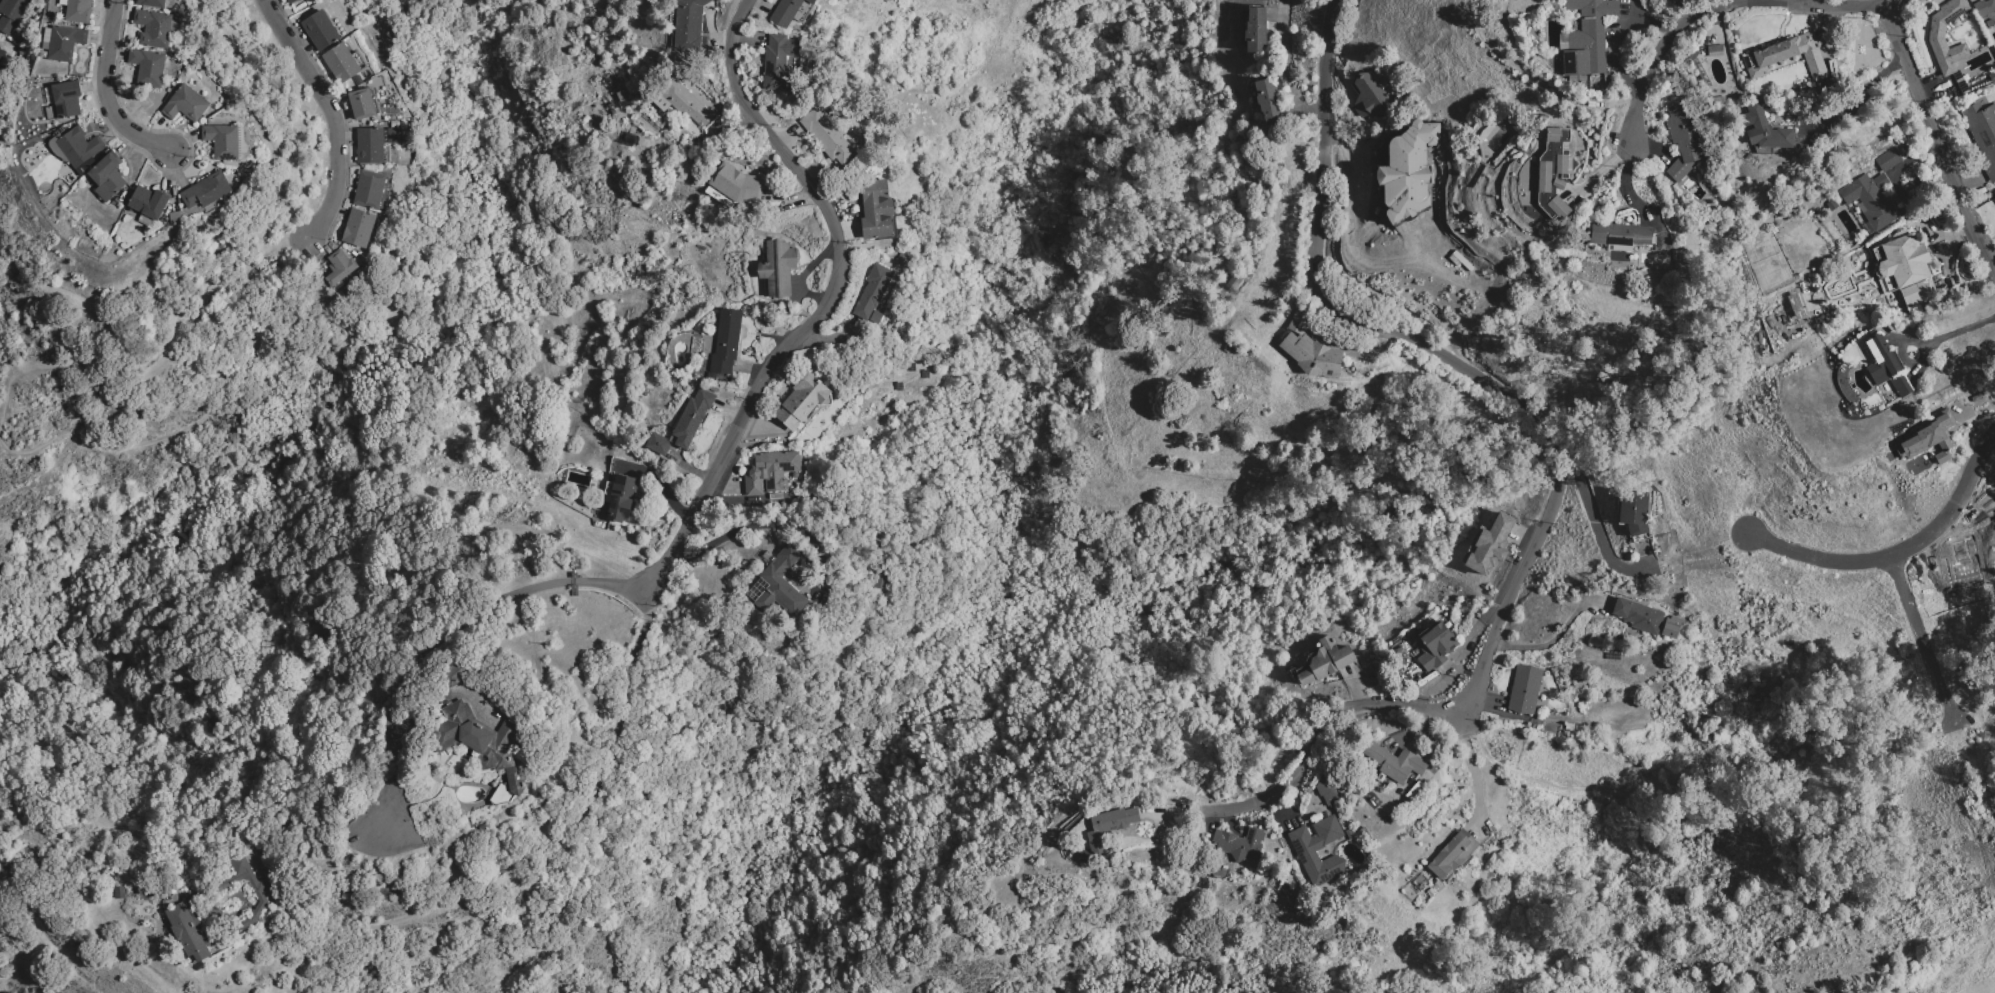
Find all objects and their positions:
building: (290, 1)
building: (810, 1)
building: (62, 2)
building: (151, 3)
road: (1719, 7)
building: (1984, 7)
building: (13, 8)
building: (78, 11)
building: (786, 12)
building: (6, 24)
building: (155, 28)
building: (690, 28)
building: (1254, 28)
building: (319, 30)
building: (1588, 36)
building: (46, 38)
building: (1936, 39)
building: (65, 42)
building: (1715, 50)
building: (1, 53)
building: (1694, 54)
building: (1789, 56)
building: (359, 59)
building: (341, 63)
building: (776, 63)
building: (147, 67)
road: (1288, 69)
building: (1992, 78)
road: (112, 89)
building: (1369, 96)
road: (1855, 96)
building: (66, 99)
building: (1718, 100)
building: (1267, 101)
building: (185, 103)
building: (363, 103)
building: (687, 103)
road: (337, 118)
building: (1765, 129)
building: (1982, 133)
building: (827, 136)
building: (1683, 140)
road: (1939, 140)
building: (222, 141)
building: (368, 144)
building: (57, 147)
building: (79, 149)
building: (1888, 160)
building: (1409, 172)
building: (107, 176)
building: (1551, 177)
building: (1527, 180)
building: (736, 184)
road: (1623, 184)
building: (371, 189)
building: (206, 190)
building: (1871, 199)
building: (1832, 204)
building: (148, 205)
building: (877, 209)
building: (174, 216)
building: (359, 227)
building: (1620, 235)
building: (1460, 260)
building: (340, 267)
building: (778, 267)
building: (1908, 268)
building: (1233, 282)
building: (872, 291)
building: (1797, 305)
road: (1953, 333)
road: (808, 334)
building: (726, 342)
building: (1310, 349)
building: (1886, 365)
building: (711, 376)
building: (802, 401)
building: (692, 417)
building: (1400, 437)
building: (1931, 437)
building: (657, 444)
building: (769, 472)
road: (1560, 477)
building: (620, 497)
building: (772, 503)
building: (1633, 511)
road: (1593, 520)
road: (764, 526)
building: (1490, 546)
road: (1900, 552)
building: (881, 578)
building: (777, 584)
building: (1639, 616)
building: (1672, 627)
road: (1553, 641)
road: (1921, 641)
road: (435, 643)
building: (1435, 645)
building: (1324, 661)
building: (1524, 690)
building: (1569, 727)
building: (1578, 728)
building: (482, 740)
building: (1392, 762)
road: (1472, 765)
building: (1380, 777)
building: (1326, 792)
road: (1673, 801)
building: (1109, 825)
building: (1364, 832)
building: (1349, 834)
road: (571, 840)
building: (1240, 843)
building: (1318, 849)
building: (1452, 854)
building: (260, 893)
building: (189, 931)
park: (1954, 950)

